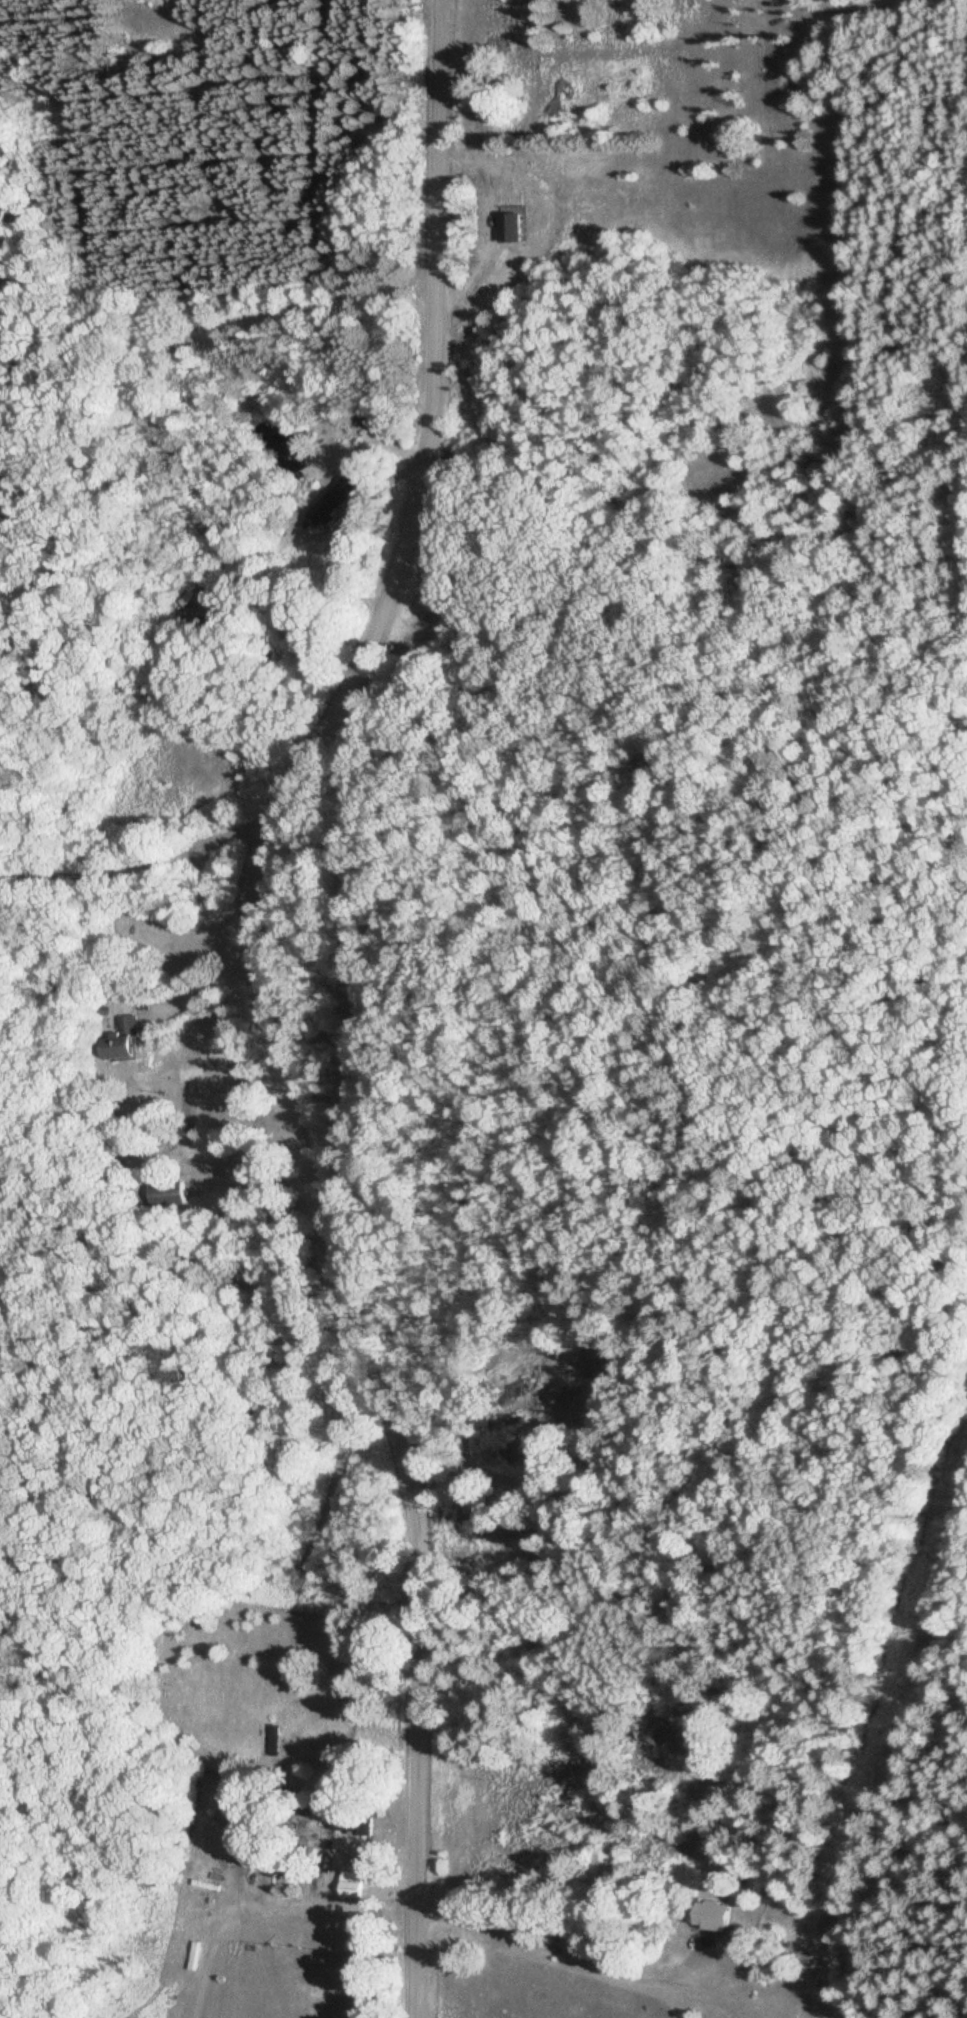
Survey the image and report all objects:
building: (520, 226)
building: (334, 501)
building: (184, 597)
road: (269, 1000)
building: (124, 1038)
building: (168, 1194)
building: (666, 1731)
building: (364, 1826)
building: (606, 1865)
building: (357, 1884)
building: (721, 1915)

